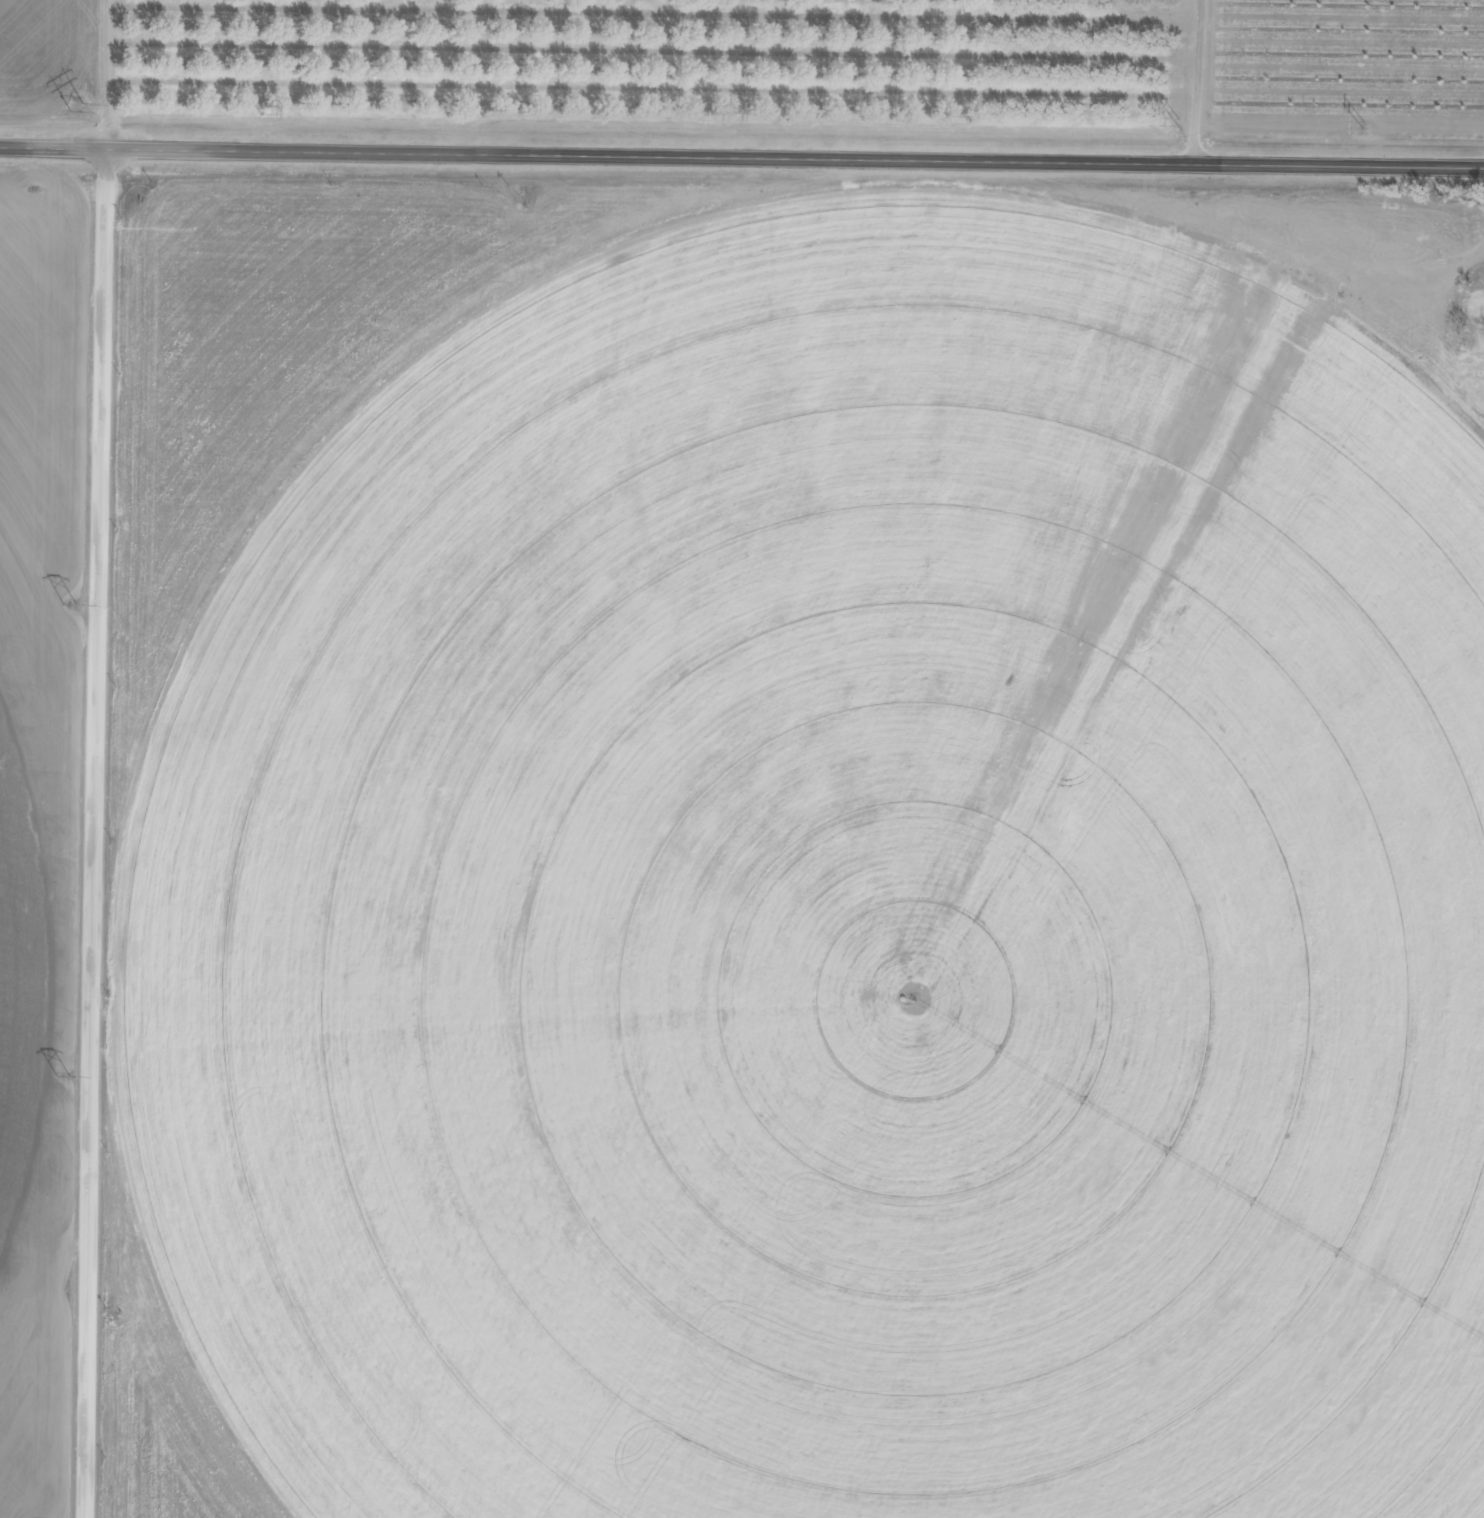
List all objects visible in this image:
road: (1478, 29)
road: (1203, 84)
road: (37, 90)
power tower: (75, 109)
road: (742, 162)
power tower: (68, 605)
road: (99, 835)
power tower: (59, 1078)

